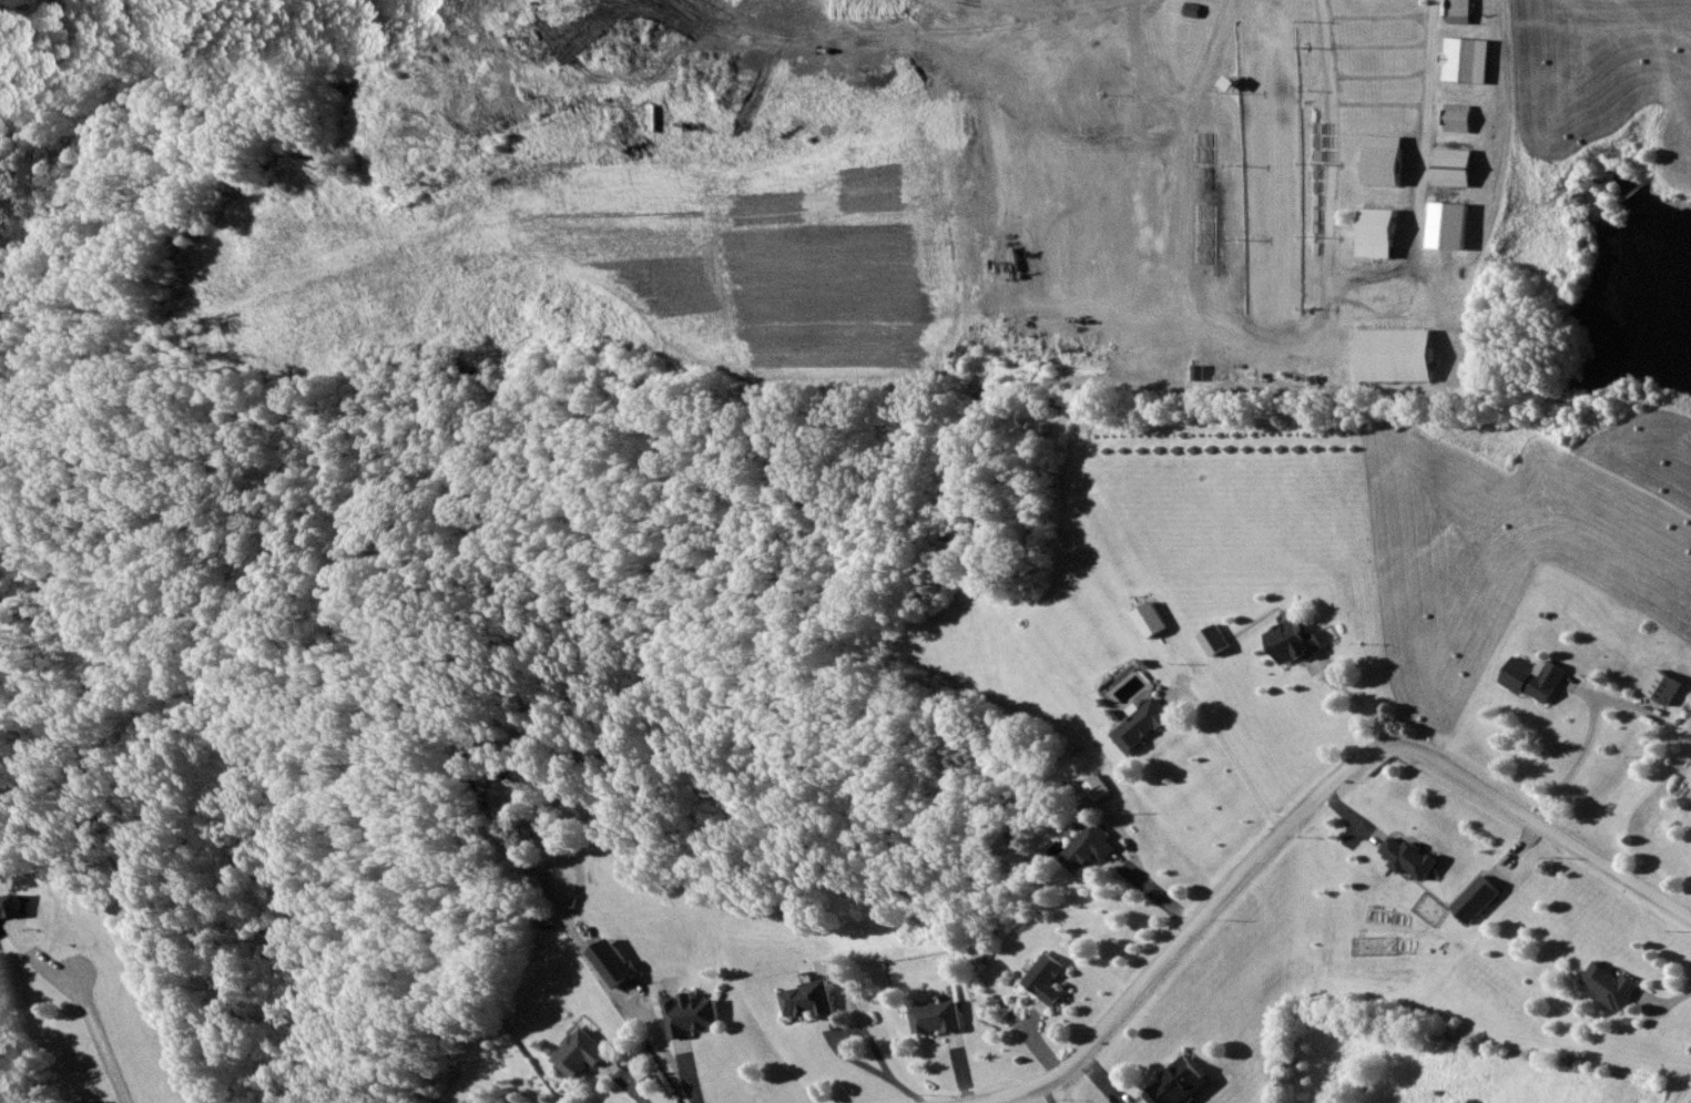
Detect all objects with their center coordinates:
building: (10, 4)
building: (1465, 12)
building: (1466, 61)
building: (1464, 119)
road: (1326, 170)
building: (1403, 356)
building: (1297, 642)
building: (1540, 681)
building: (1668, 688)
building: (1147, 727)
road: (1579, 756)
road: (1241, 763)
building: (1103, 789)
road: (1301, 810)
building: (1098, 851)
building: (1415, 859)
building: (1480, 900)
building: (1055, 980)
building: (1614, 988)
building: (816, 1002)
building: (697, 1017)
road: (98, 1018)
building: (945, 1020)
road: (843, 1031)
building: (590, 1056)
building: (1182, 1083)
road: (914, 1092)
road: (1684, 1093)

